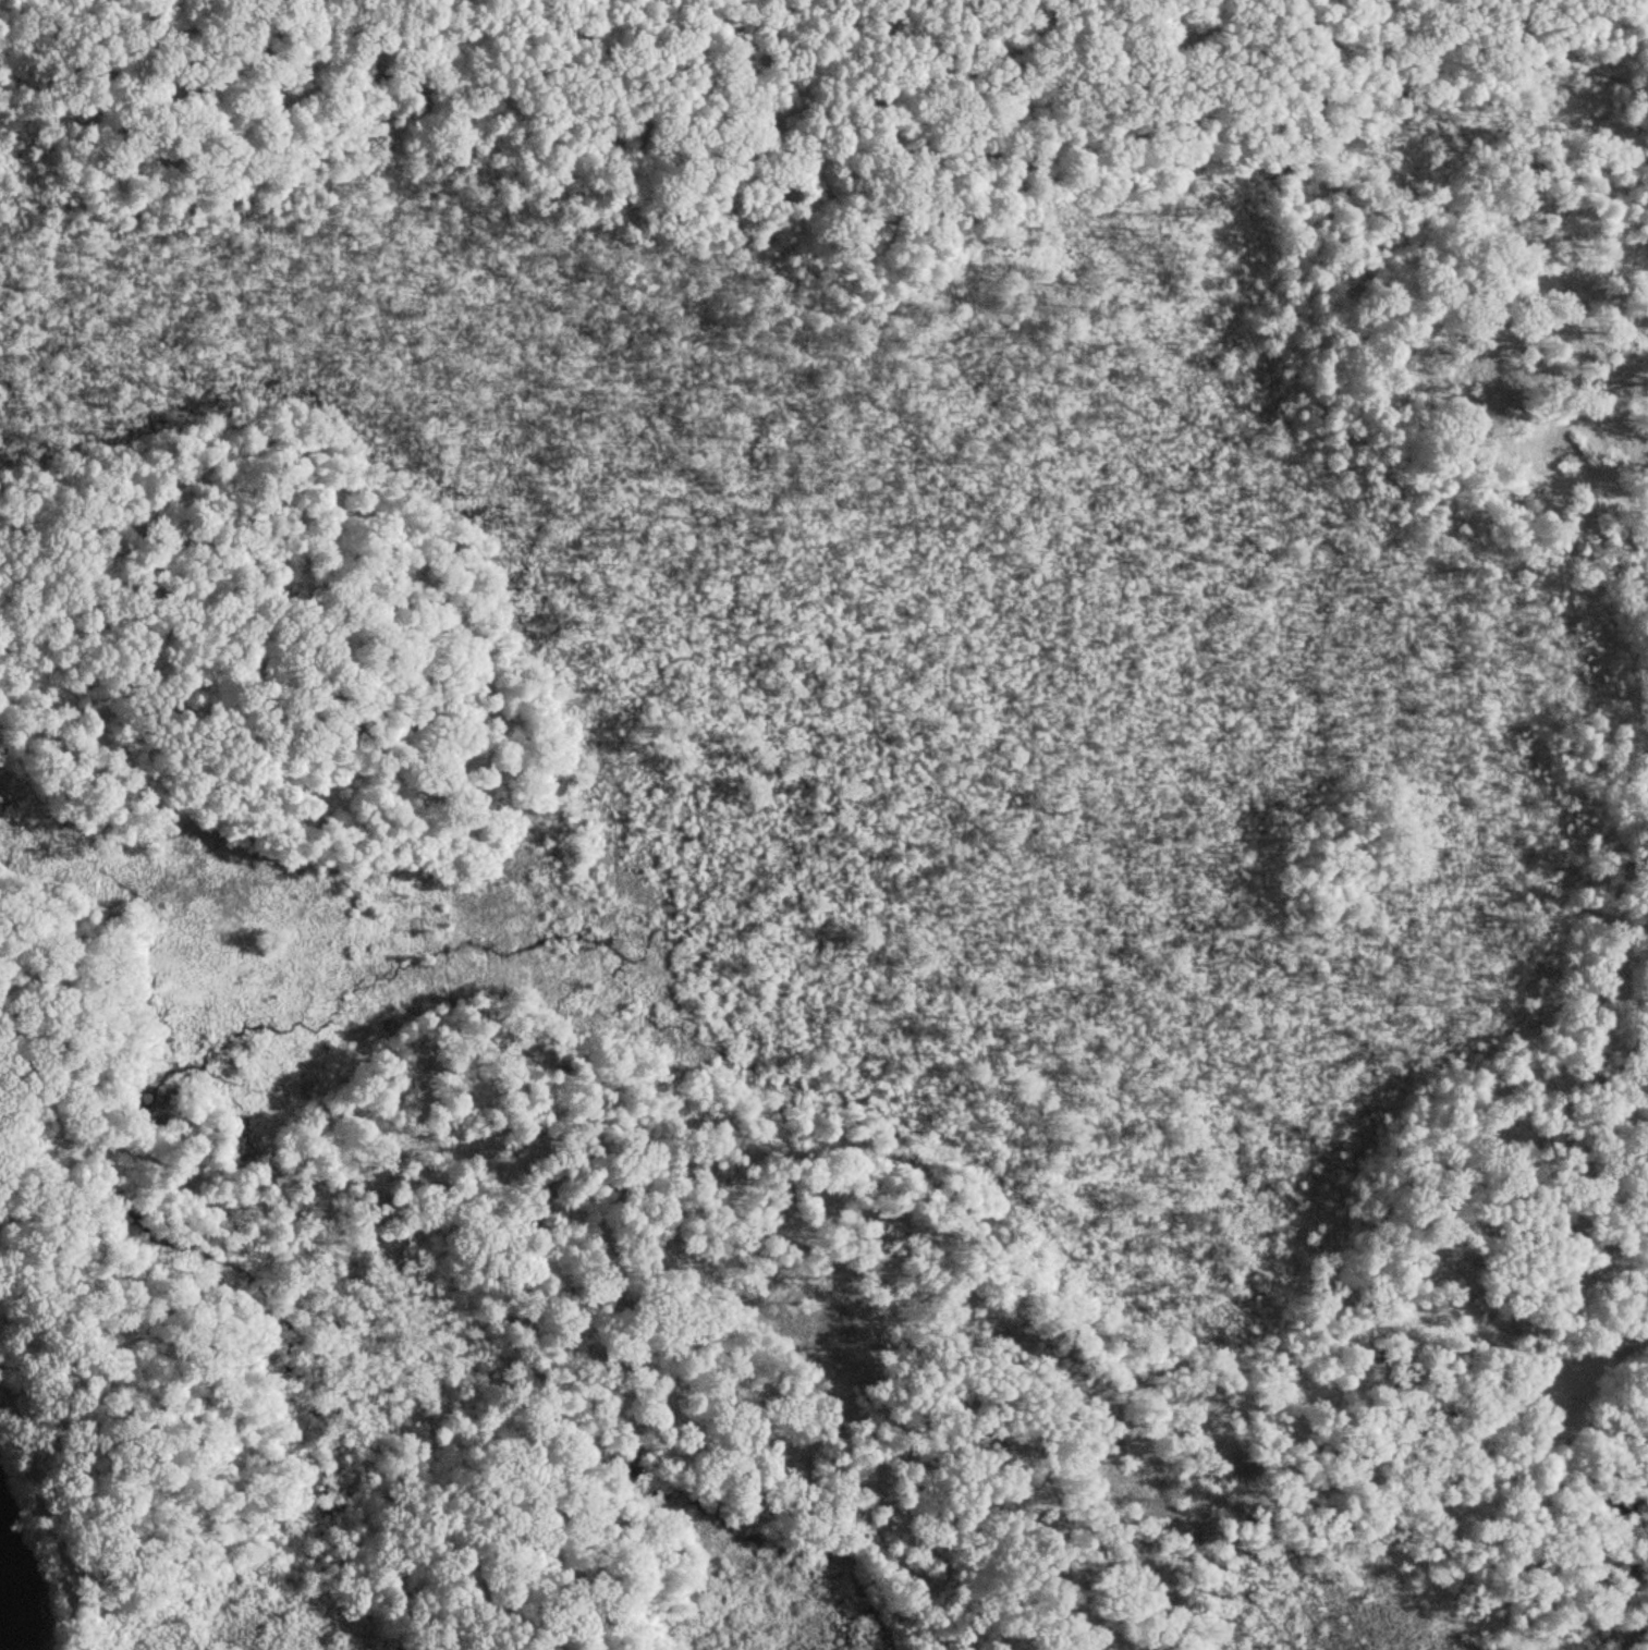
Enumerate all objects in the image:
road: (923, 1308)
road: (41, 1502)

